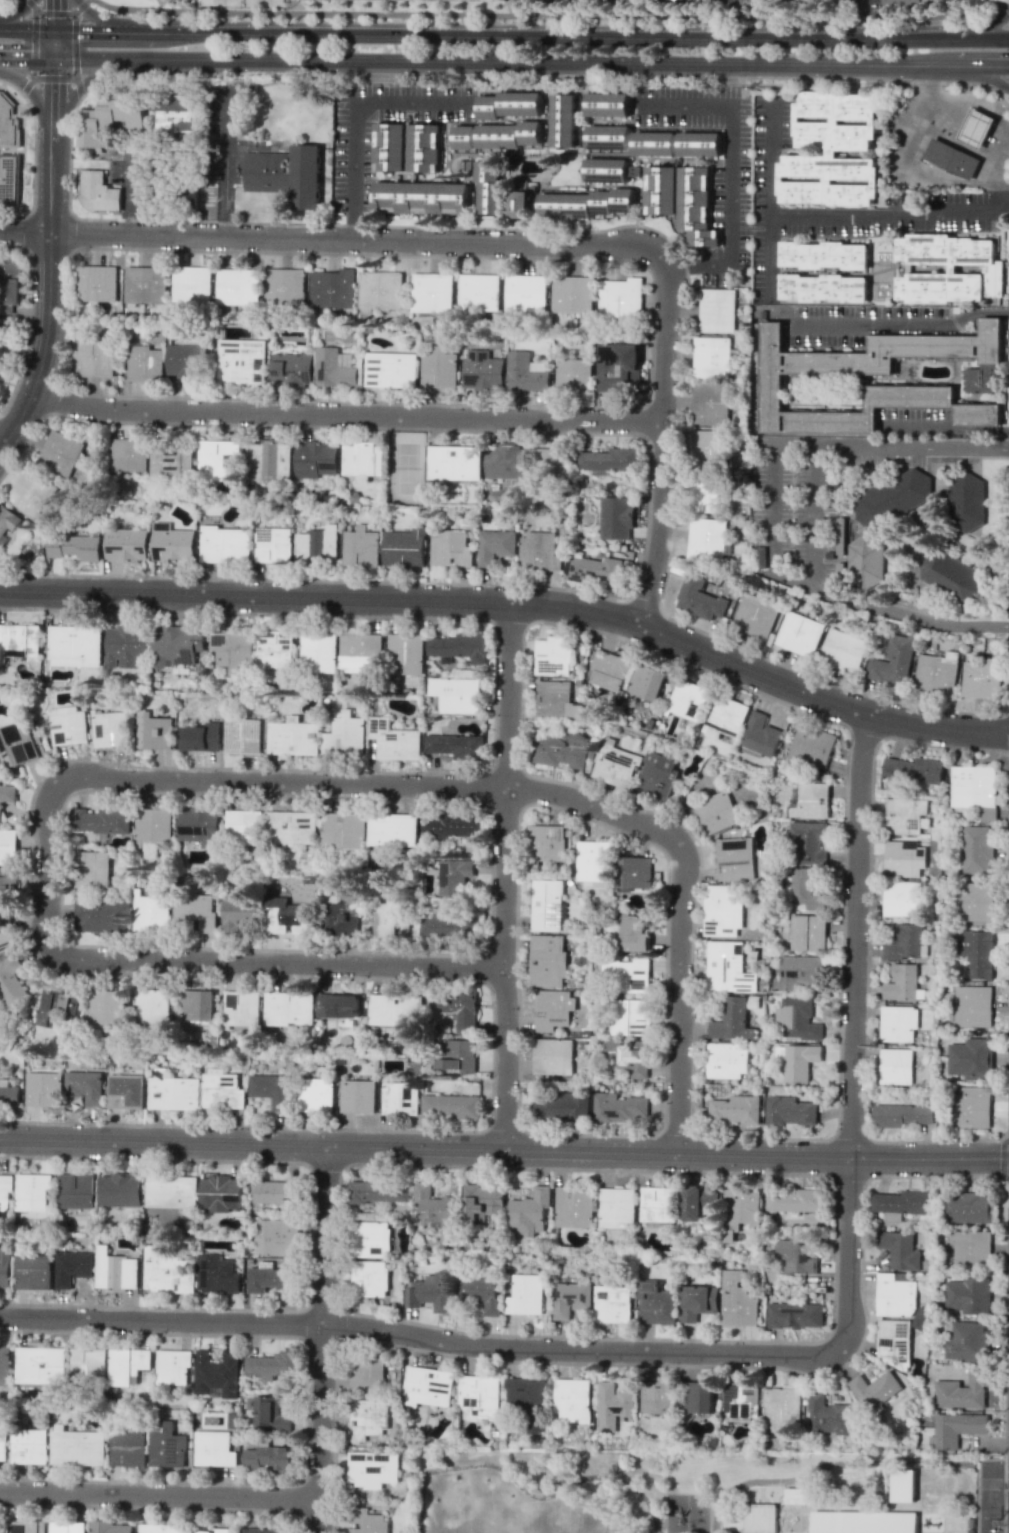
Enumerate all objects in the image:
building: (476, 0)
building: (816, 0)
road: (218, 1)
road: (259, 2)
building: (931, 2)
road: (30, 6)
road: (81, 6)
road: (1007, 8)
road: (18, 12)
road: (35, 14)
road: (548, 15)
road: (54, 16)
road: (863, 18)
road: (118, 24)
road: (974, 28)
road: (27, 30)
traffic signals: (54, 32)
road: (109, 33)
road: (551, 35)
road: (973, 39)
road: (54, 44)
road: (26, 56)
traffic signals: (54, 57)
road: (97, 58)
road: (544, 62)
road: (977, 66)
road: (978, 73)
road: (27, 85)
road: (77, 87)
road: (75, 90)
road: (1008, 96)
building: (610, 100)
building: (510, 102)
road: (984, 102)
road: (39, 107)
road: (54, 109)
building: (176, 112)
building: (566, 116)
road: (354, 119)
building: (8, 121)
building: (977, 128)
road: (943, 131)
building: (512, 136)
building: (610, 136)
building: (656, 142)
building: (701, 142)
building: (392, 144)
building: (428, 145)
building: (465, 148)
building: (832, 151)
building: (952, 159)
road: (226, 165)
building: (607, 167)
building: (287, 173)
road: (729, 173)
road: (920, 175)
building: (9, 178)
road: (999, 183)
building: (493, 185)
building: (662, 189)
building: (696, 190)
building: (99, 191)
road: (129, 191)
building: (423, 198)
building: (522, 199)
road: (768, 201)
building: (587, 202)
road: (888, 216)
road: (327, 239)
building: (825, 254)
building: (950, 266)
building: (96, 283)
building: (136, 284)
building: (192, 284)
building: (10, 285)
building: (823, 286)
building: (238, 287)
building: (285, 287)
building: (333, 288)
building: (382, 289)
building: (527, 290)
building: (433, 291)
building: (480, 291)
building: (573, 293)
building: (621, 298)
building: (716, 299)
road: (48, 308)
building: (716, 321)
road: (902, 324)
street lamp: (649, 333)
building: (712, 348)
building: (84, 358)
building: (187, 360)
building: (242, 361)
building: (144, 363)
building: (618, 366)
building: (438, 367)
building: (392, 368)
building: (292, 369)
building: (334, 369)
building: (711, 369)
building: (483, 371)
building: (524, 372)
building: (573, 375)
building: (772, 379)
building: (710, 403)
road: (346, 415)
road: (661, 436)
road: (0, 442)
road: (891, 446)
building: (707, 449)
building: (60, 452)
building: (128, 454)
building: (316, 459)
building: (363, 459)
building: (609, 460)
building: (270, 461)
building: (454, 462)
building: (506, 462)
building: (553, 462)
building: (166, 463)
park: (406, 468)
building: (32, 493)
building: (707, 493)
building: (892, 500)
building: (965, 502)
road: (772, 509)
parking lot: (794, 513)
road: (813, 516)
building: (616, 517)
building: (8, 519)
building: (707, 538)
building: (172, 544)
building: (224, 544)
building: (126, 545)
building: (273, 545)
building: (317, 545)
building: (495, 546)
building: (76, 547)
building: (361, 547)
building: (404, 547)
building: (450, 548)
building: (538, 552)
building: (864, 563)
building: (595, 568)
building: (950, 576)
road: (793, 580)
building: (699, 599)
road: (515, 602)
road: (909, 615)
building: (754, 618)
building: (799, 633)
building: (19, 640)
building: (74, 645)
building: (126, 645)
building: (176, 645)
building: (459, 645)
building: (232, 649)
building: (274, 649)
building: (318, 649)
building: (843, 650)
building: (360, 652)
building: (405, 653)
building: (553, 656)
building: (892, 661)
building: (608, 670)
building: (935, 673)
building: (981, 678)
building: (647, 682)
building: (456, 694)
building: (687, 699)
building: (556, 700)
building: (726, 716)
building: (68, 725)
building: (109, 728)
building: (154, 731)
building: (241, 733)
building: (344, 734)
building: (760, 735)
building: (200, 737)
building: (293, 737)
building: (394, 740)
building: (17, 745)
building: (456, 745)
building: (811, 746)
building: (561, 750)
building: (616, 767)
building: (914, 769)
building: (657, 774)
road: (60, 782)
building: (976, 788)
building: (8, 792)
building: (811, 801)
building: (716, 812)
building: (0, 814)
building: (904, 815)
street lamp: (489, 818)
building: (102, 821)
building: (451, 825)
building: (153, 826)
building: (199, 826)
building: (242, 827)
building: (291, 827)
building: (393, 829)
building: (342, 830)
street lamp: (616, 833)
building: (544, 843)
building: (807, 843)
building: (8, 847)
building: (978, 849)
building: (735, 859)
building: (904, 859)
building: (593, 863)
building: (92, 869)
building: (635, 873)
building: (455, 876)
road: (504, 876)
building: (5, 888)
building: (807, 891)
building: (902, 898)
building: (975, 901)
building: (546, 904)
building: (193, 910)
building: (724, 910)
building: (238, 913)
building: (151, 914)
building: (101, 916)
building: (343, 916)
building: (387, 916)
building: (288, 917)
building: (450, 925)
street lamp: (519, 929)
building: (808, 932)
building: (634, 933)
building: (6, 934)
building: (905, 942)
building: (977, 952)
building: (547, 960)
building: (728, 968)
building: (801, 971)
building: (629, 976)
building: (11, 981)
building: (902, 982)
road: (679, 999)
building: (974, 1003)
building: (151, 1005)
building: (197, 1005)
building: (337, 1005)
building: (58, 1007)
building: (105, 1007)
building: (240, 1007)
building: (288, 1008)
building: (460, 1008)
building: (553, 1008)
building: (393, 1009)
building: (630, 1017)
building: (798, 1018)
building: (732, 1020)
building: (898, 1024)
road: (853, 1033)
building: (459, 1056)
building: (553, 1056)
building: (632, 1057)
building: (972, 1058)
building: (727, 1060)
building: (800, 1061)
building: (896, 1066)
building: (0, 1072)
street lamp: (487, 1079)
street lamp: (662, 1080)
building: (85, 1086)
building: (43, 1089)
building: (272, 1089)
building: (222, 1090)
building: (125, 1091)
building: (173, 1092)
building: (320, 1094)
building: (10, 1096)
building: (358, 1096)
building: (400, 1098)
building: (452, 1105)
building: (562, 1106)
building: (973, 1106)
building: (619, 1107)
building: (735, 1109)
building: (790, 1111)
building: (906, 1115)
road: (504, 1150)
building: (121, 1189)
building: (78, 1190)
building: (33, 1191)
building: (172, 1191)
building: (272, 1191)
building: (378, 1191)
building: (5, 1192)
building: (221, 1193)
building: (794, 1200)
building: (483, 1201)
building: (698, 1201)
building: (902, 1202)
building: (658, 1204)
building: (435, 1206)
building: (574, 1207)
building: (617, 1208)
building: (970, 1208)
building: (742, 1209)
building: (529, 1213)
building: (277, 1237)
building: (372, 1239)
building: (972, 1248)
building: (900, 1250)
building: (794, 1256)
building: (72, 1266)
building: (5, 1267)
building: (116, 1270)
building: (166, 1270)
building: (34, 1272)
building: (217, 1275)
building: (370, 1278)
building: (269, 1279)
building: (432, 1291)
building: (481, 1292)
building: (525, 1295)
building: (733, 1295)
building: (968, 1295)
building: (895, 1296)
building: (571, 1299)
building: (698, 1301)
building: (657, 1303)
building: (612, 1304)
building: (795, 1315)
road: (147, 1333)
street lamp: (69, 1334)
road: (417, 1337)
road: (325, 1340)
building: (894, 1342)
street lamp: (306, 1352)
building: (88, 1363)
building: (273, 1364)
building: (5, 1365)
building: (41, 1365)
building: (128, 1365)
building: (172, 1367)
building: (367, 1371)
building: (218, 1374)
building: (428, 1386)
building: (874, 1389)
building: (963, 1390)
building: (479, 1396)
building: (658, 1397)
building: (698, 1397)
building: (571, 1399)
building: (529, 1401)
building: (740, 1401)
building: (614, 1405)
building: (782, 1409)
building: (269, 1414)
building: (827, 1415)
building: (368, 1418)
building: (957, 1428)
building: (2, 1443)
building: (166, 1445)
building: (30, 1446)
building: (77, 1446)
building: (128, 1447)
building: (214, 1448)
building: (269, 1458)
road: (839, 1463)
road: (1003, 1463)
building: (372, 1468)
street lamp: (91, 1477)
road: (145, 1481)
road: (1006, 1483)
building: (903, 1485)
road: (524, 1490)
park: (530, 1490)
building: (799, 1495)
road: (158, 1497)
street lamp: (234, 1513)
building: (761, 1518)
building: (897, 1519)
building: (789, 1521)
building: (811, 1521)
building: (367, 1522)
building: (832, 1522)
building: (853, 1522)
building: (874, 1522)
building: (2, 1526)
building: (27, 1527)
building: (66, 1527)
building: (109, 1527)
building: (163, 1528)
road: (983, 1529)
building: (267, 1530)
building: (213, 1531)

